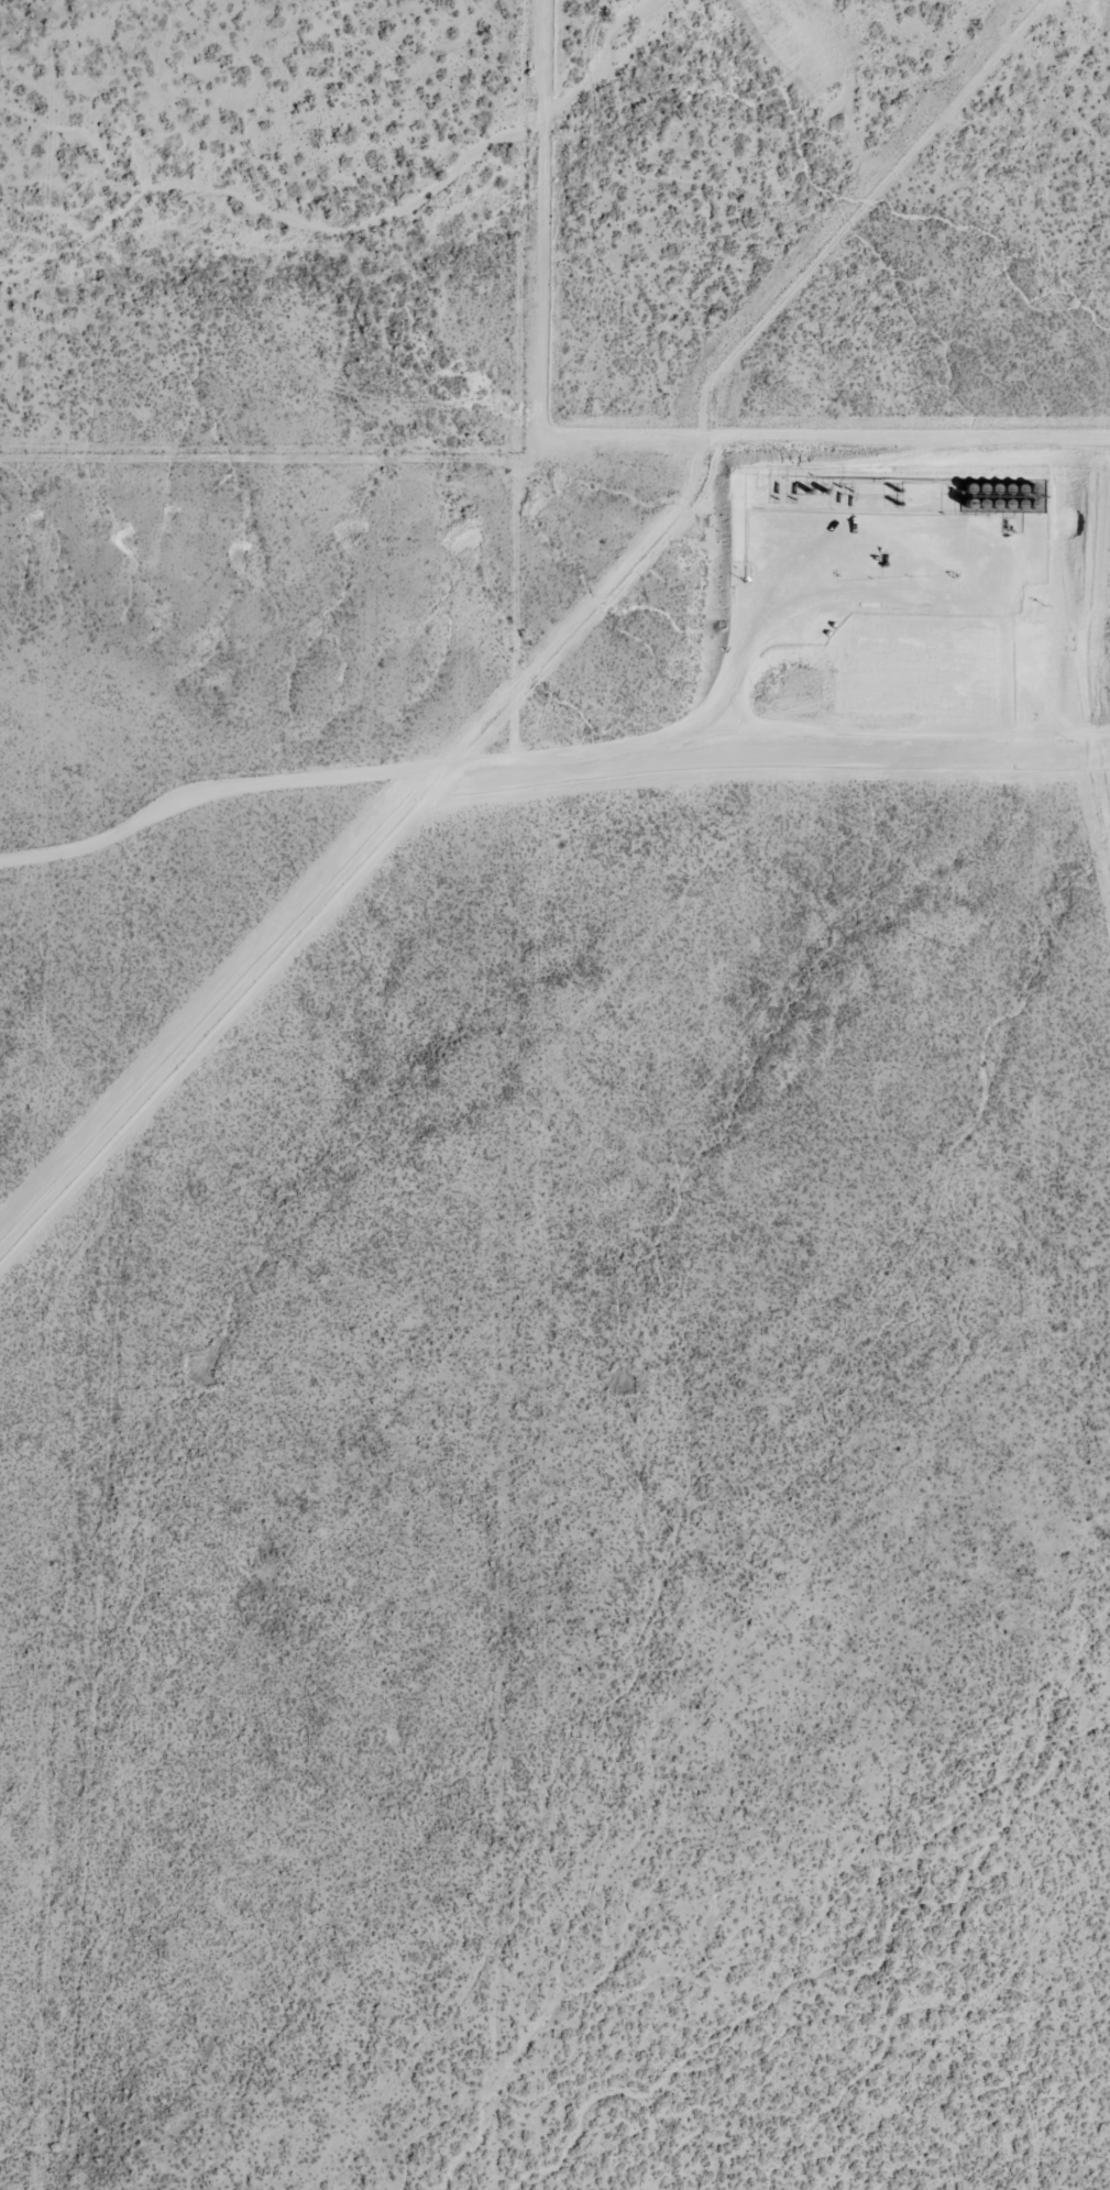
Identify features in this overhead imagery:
road: (607, 729)
road: (66, 866)

